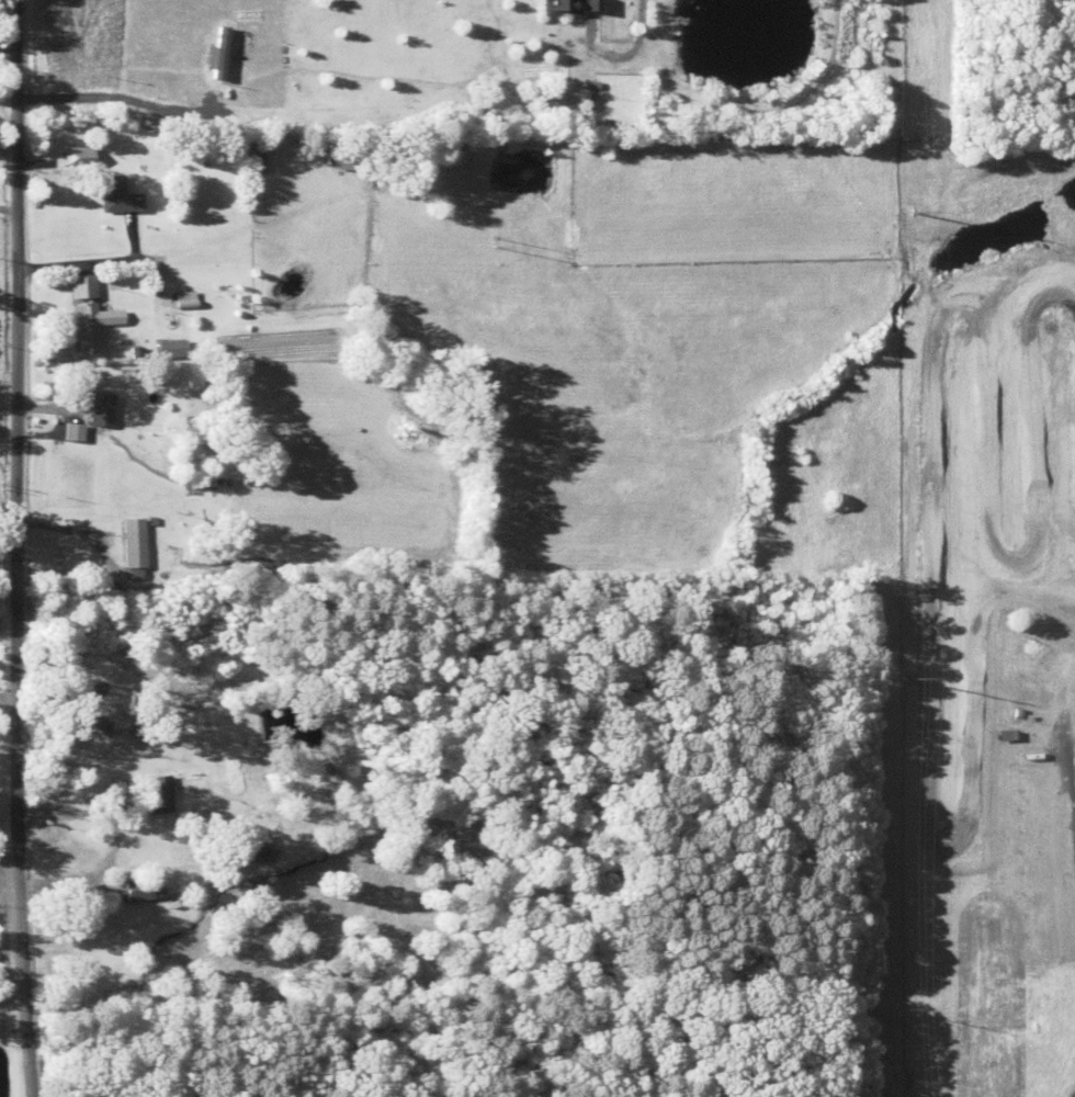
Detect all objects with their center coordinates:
building: (563, 7)
building: (77, 157)
building: (341, 160)
building: (114, 196)
building: (199, 303)
building: (84, 328)
building: (166, 349)
building: (97, 409)
building: (129, 542)
road: (19, 548)
building: (155, 794)
building: (84, 868)
building: (139, 889)

